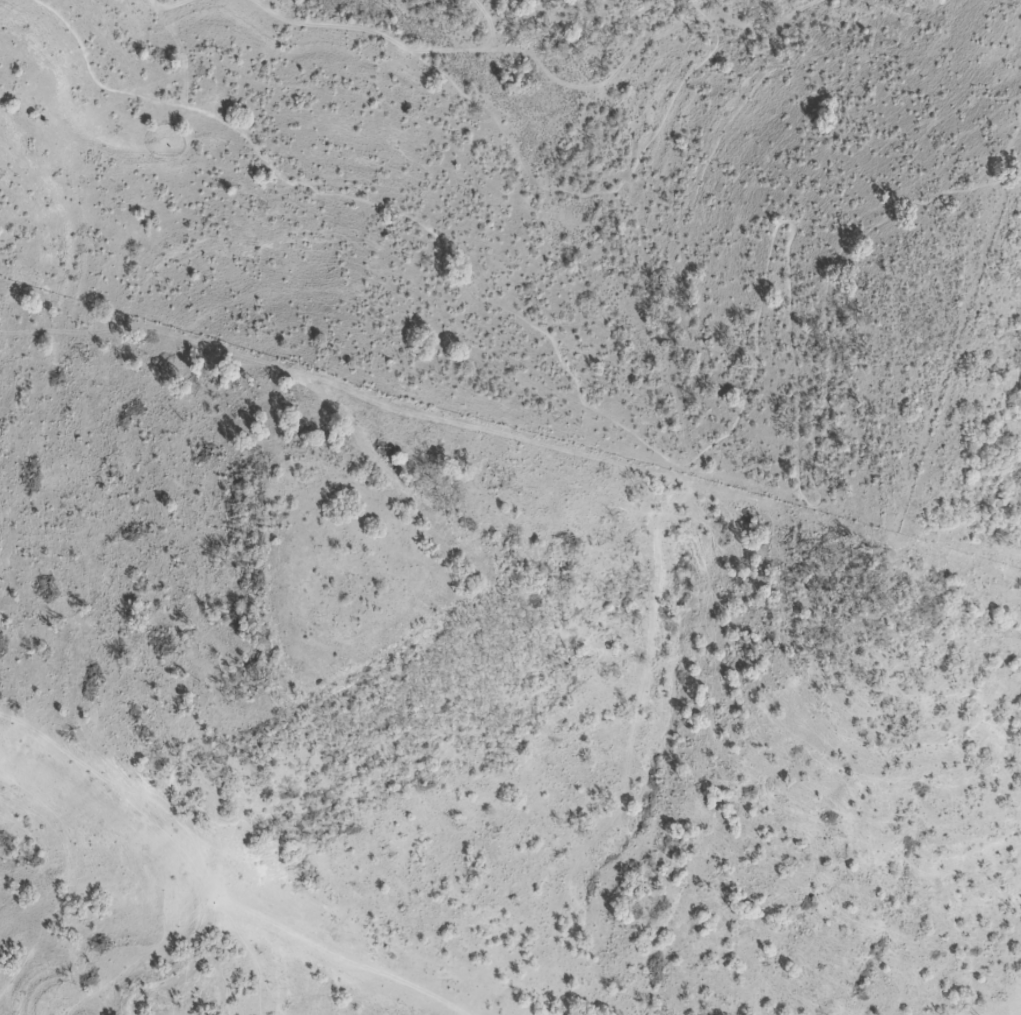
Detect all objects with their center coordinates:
road: (172, 3)
road: (698, 9)
road: (332, 25)
road: (648, 44)
road: (479, 48)
road: (586, 196)
road: (751, 372)

